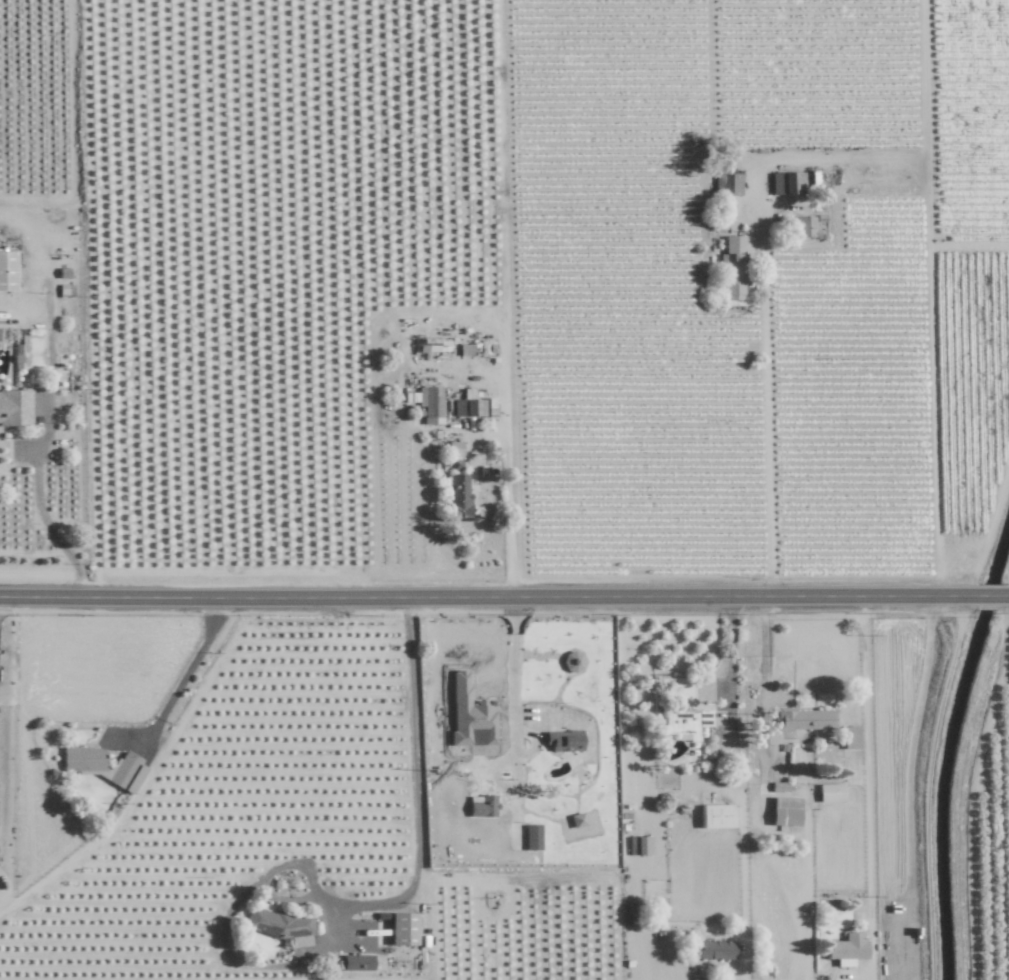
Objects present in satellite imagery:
building: (787, 182)
building: (728, 184)
building: (804, 226)
building: (733, 268)
building: (8, 271)
building: (5, 334)
road: (507, 362)
building: (431, 405)
building: (474, 407)
building: (15, 408)
road: (760, 418)
building: (455, 453)
road: (508, 489)
building: (459, 496)
road: (41, 506)
road: (989, 595)
road: (1005, 595)
road: (488, 597)
road: (730, 648)
road: (193, 667)
building: (470, 715)
building: (806, 719)
building: (686, 722)
building: (851, 737)
building: (562, 742)
road: (866, 761)
building: (104, 766)
road: (475, 767)
road: (415, 785)
building: (830, 792)
building: (482, 806)
building: (785, 811)
building: (716, 816)
building: (581, 818)
building: (533, 837)
building: (640, 845)
building: (279, 926)
building: (403, 929)
building: (847, 949)
building: (716, 950)
building: (358, 962)

